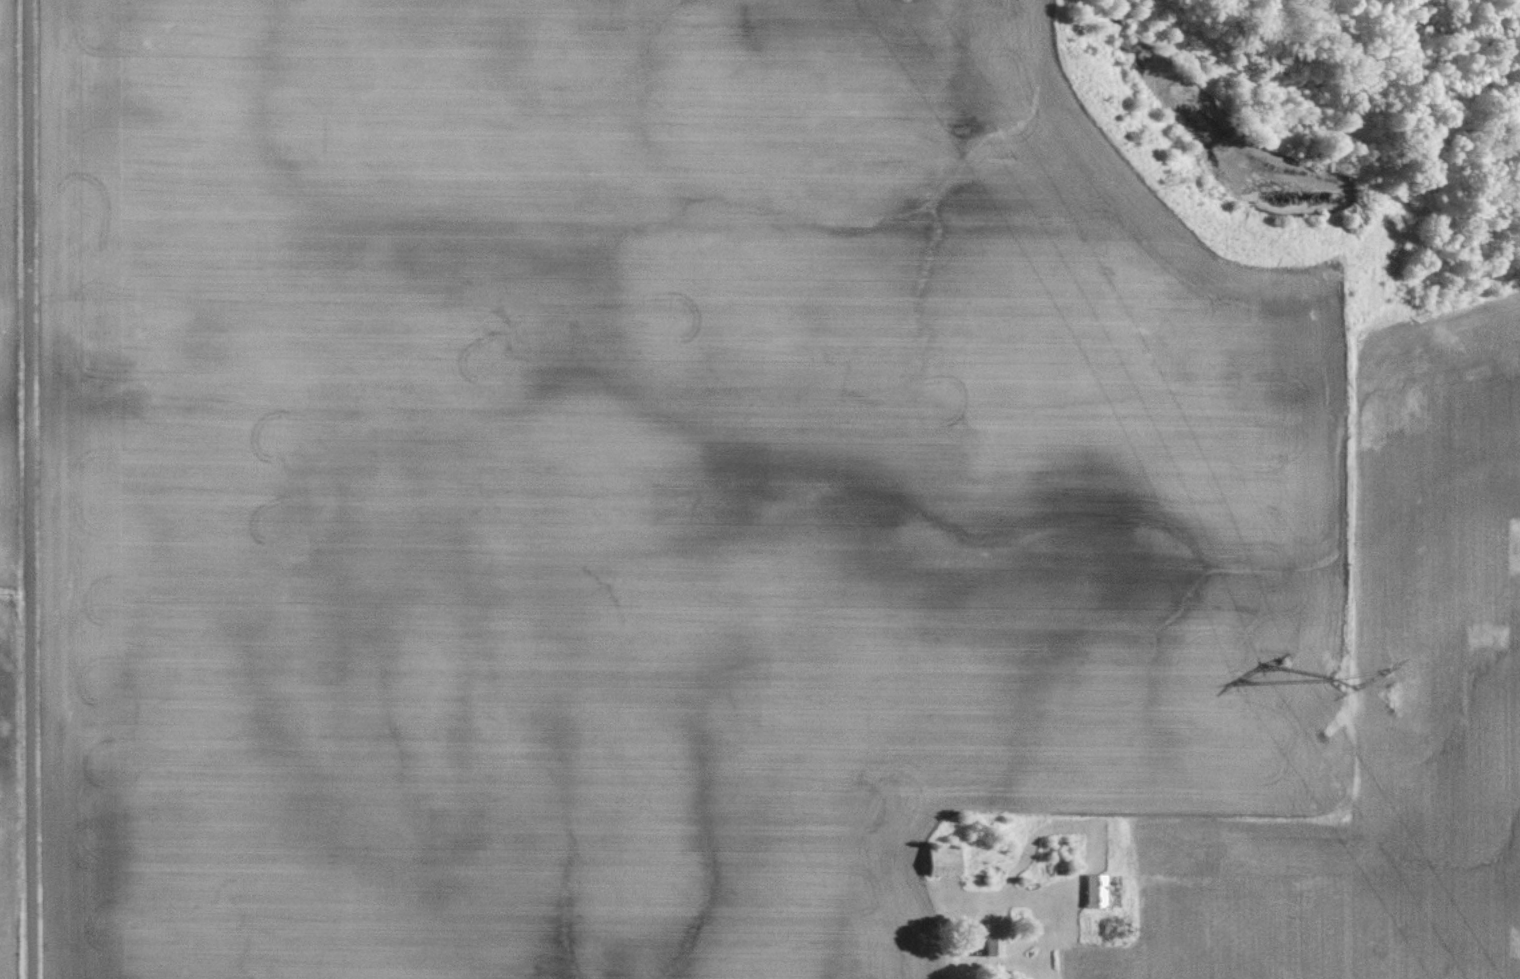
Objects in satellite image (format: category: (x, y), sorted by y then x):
road: (26, 489)
power tower: (1335, 681)
building: (946, 862)
building: (1098, 892)
building: (997, 939)
road: (955, 956)

